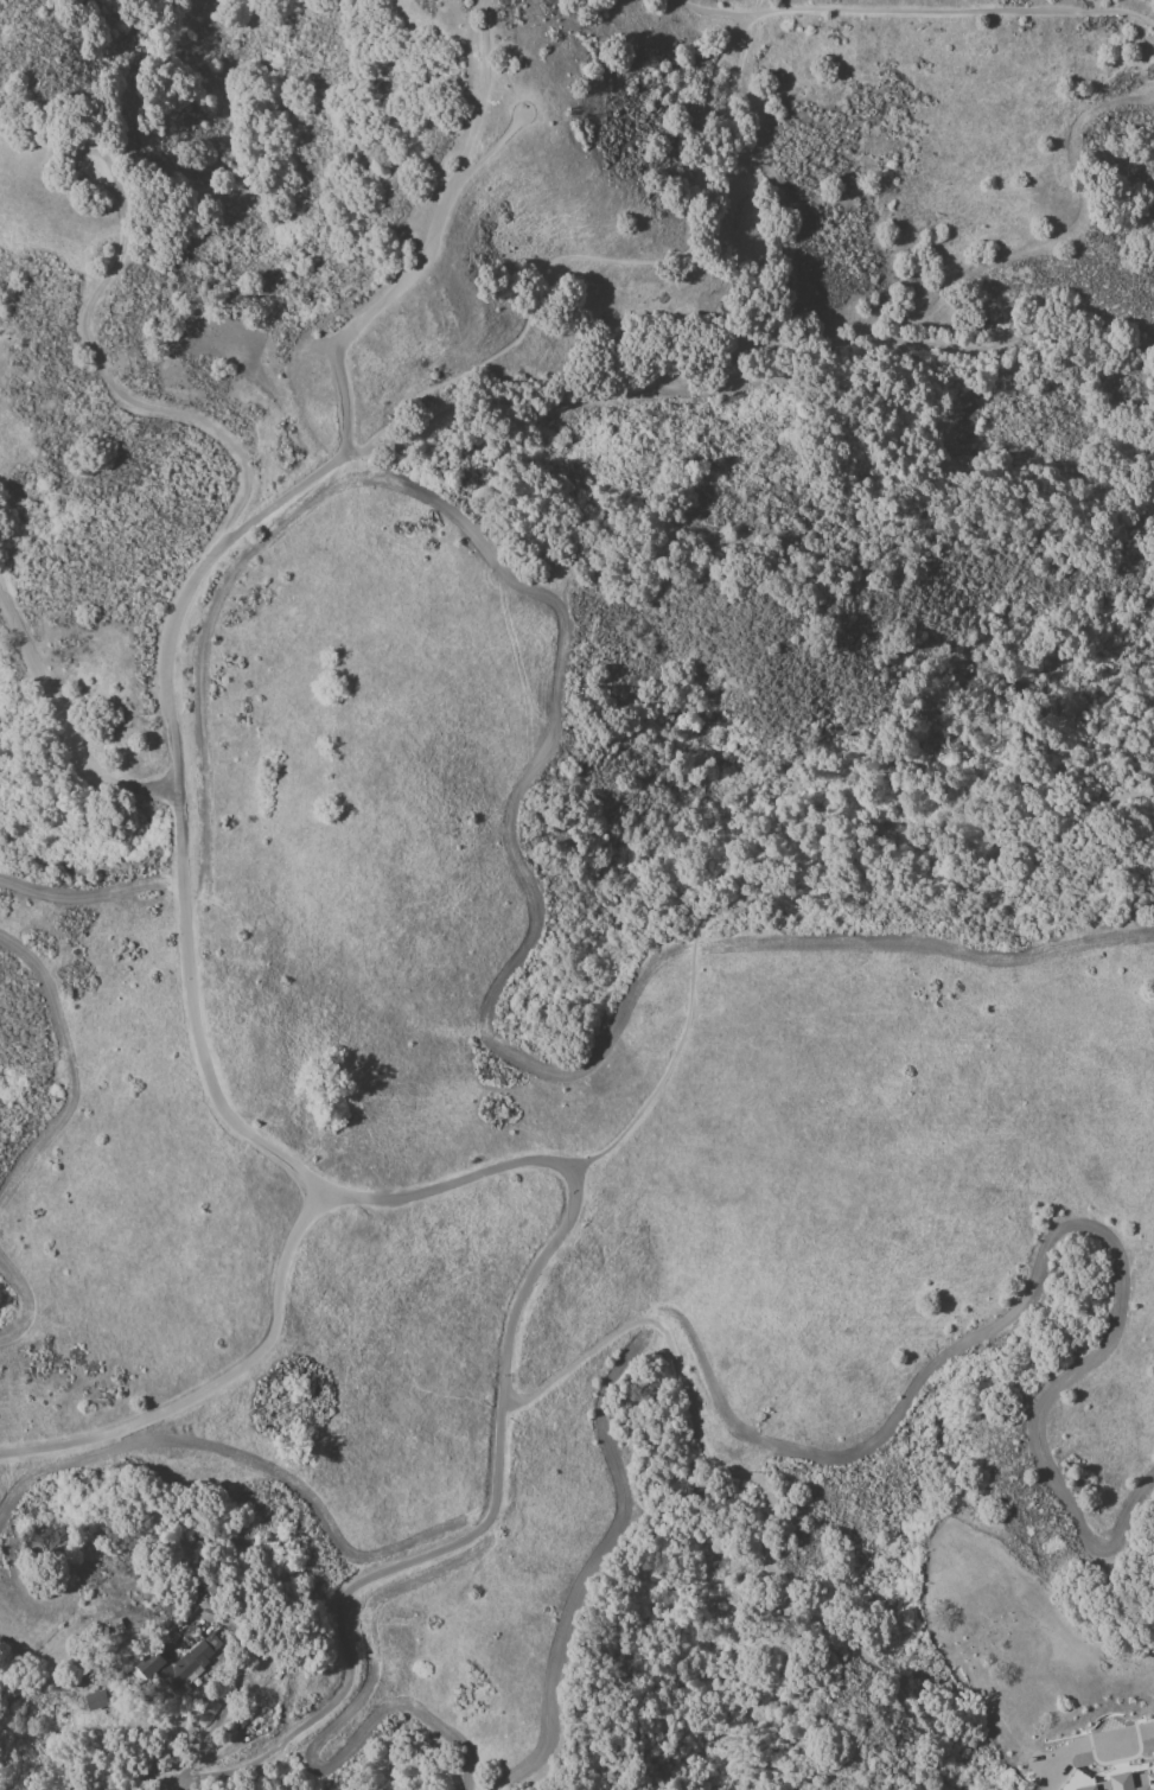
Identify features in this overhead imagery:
road: (1094, 5)
road: (703, 9)
road: (929, 9)
road: (491, 148)
road: (429, 241)
road: (760, 249)
road: (595, 260)
road: (767, 374)
road: (117, 389)
road: (364, 447)
road: (63, 721)
road: (177, 810)
road: (785, 890)
road: (566, 1170)
road: (215, 1382)
road: (757, 1478)
road: (342, 1599)
building: (172, 1665)
road: (237, 1686)
building: (94, 1701)
road: (1148, 1731)
road: (273, 1762)
building: (1071, 1783)
building: (1122, 1783)
road: (178, 1785)
road: (957, 1788)

